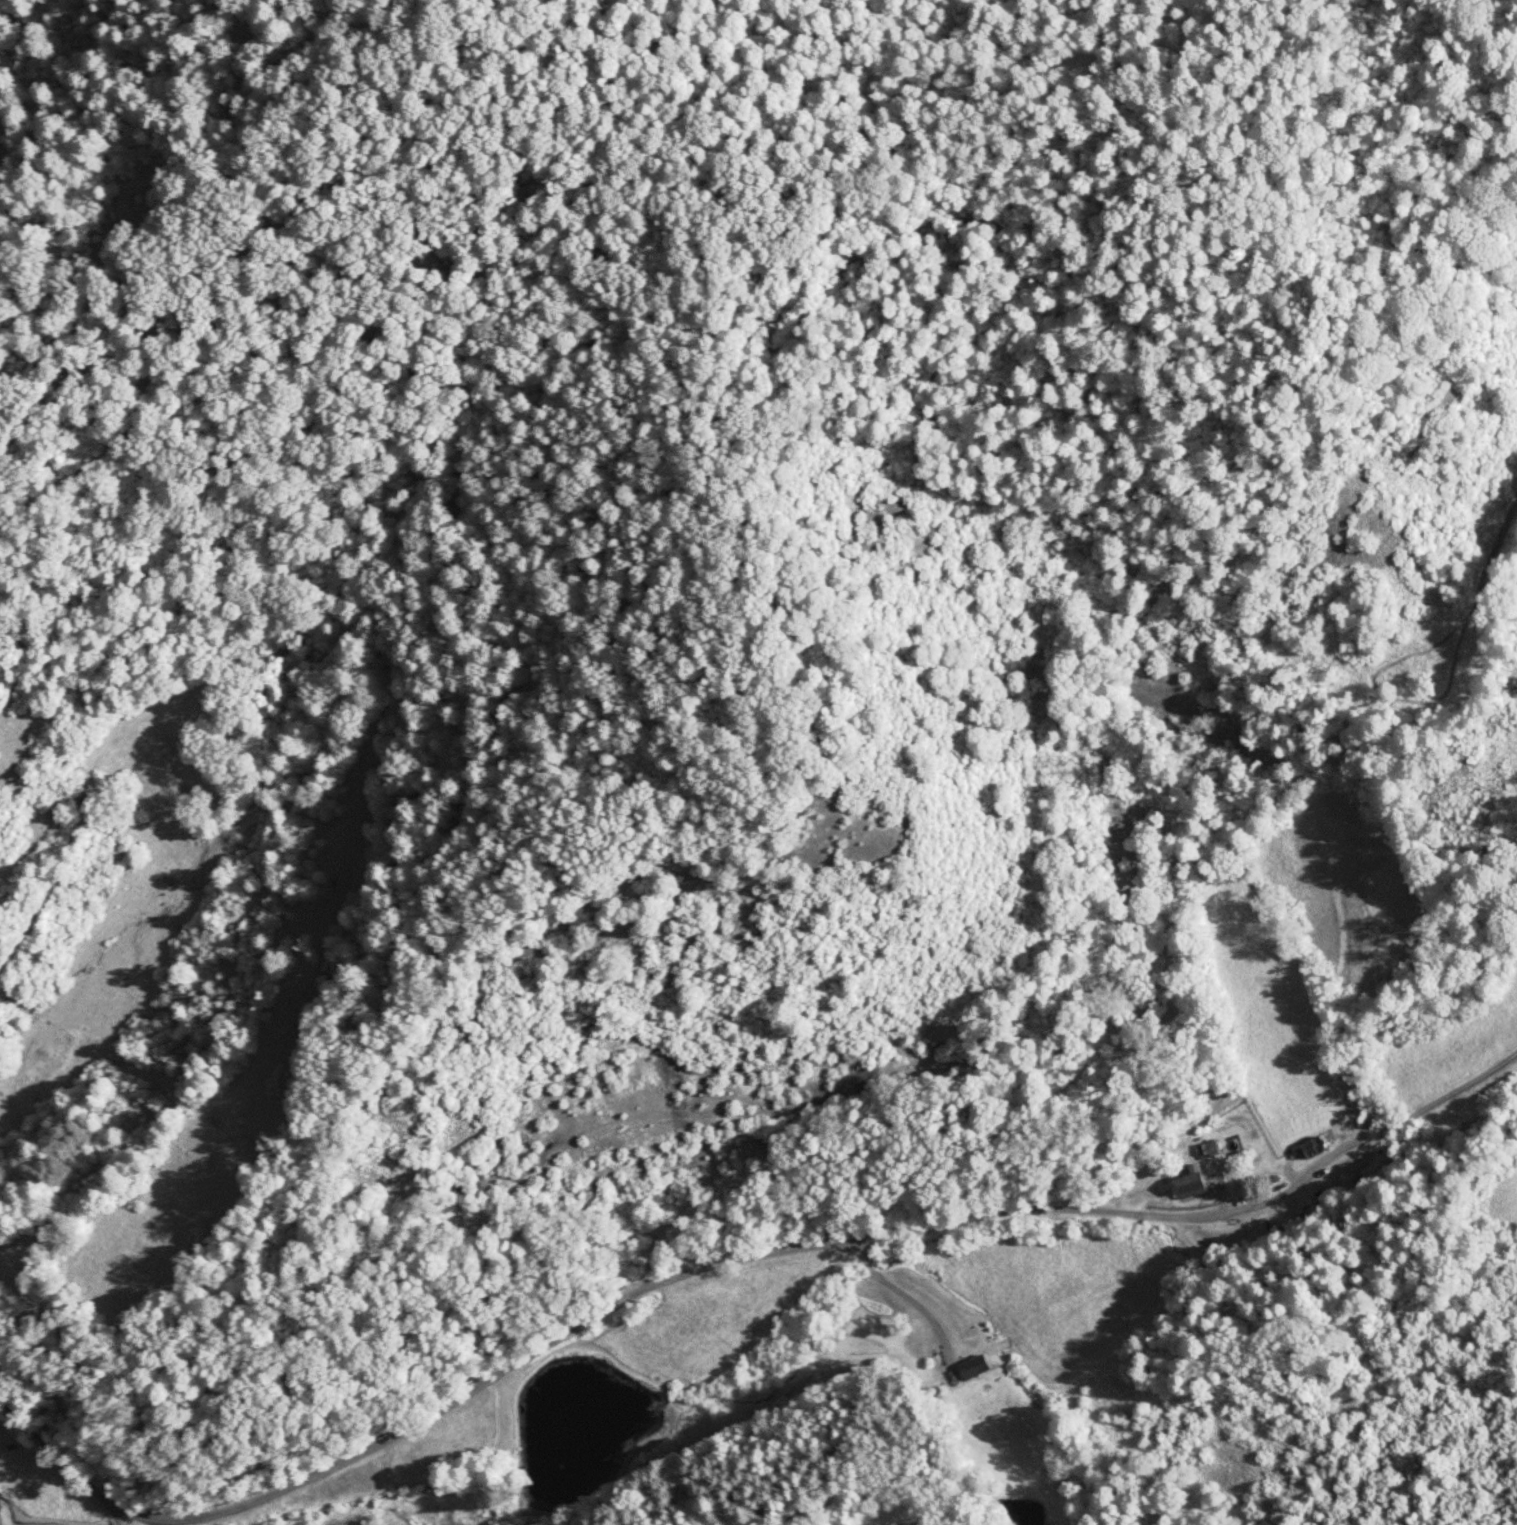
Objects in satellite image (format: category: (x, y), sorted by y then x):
building: (1302, 1145)
building: (1179, 1184)
road: (705, 1315)
road: (947, 1367)
road: (84, 1522)

